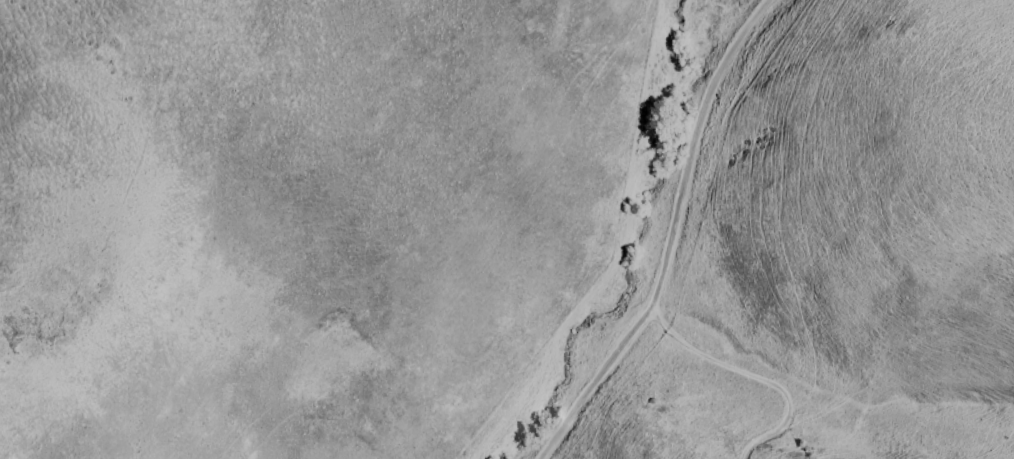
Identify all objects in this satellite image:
road: (673, 236)
road: (755, 378)

